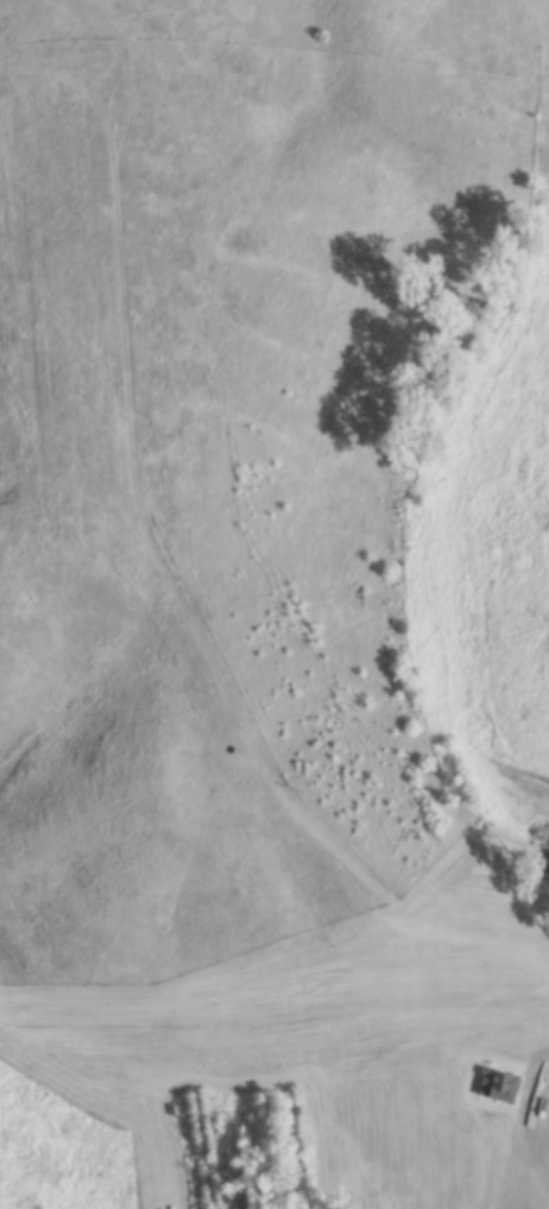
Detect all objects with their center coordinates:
building: (497, 1087)
road: (526, 1178)

